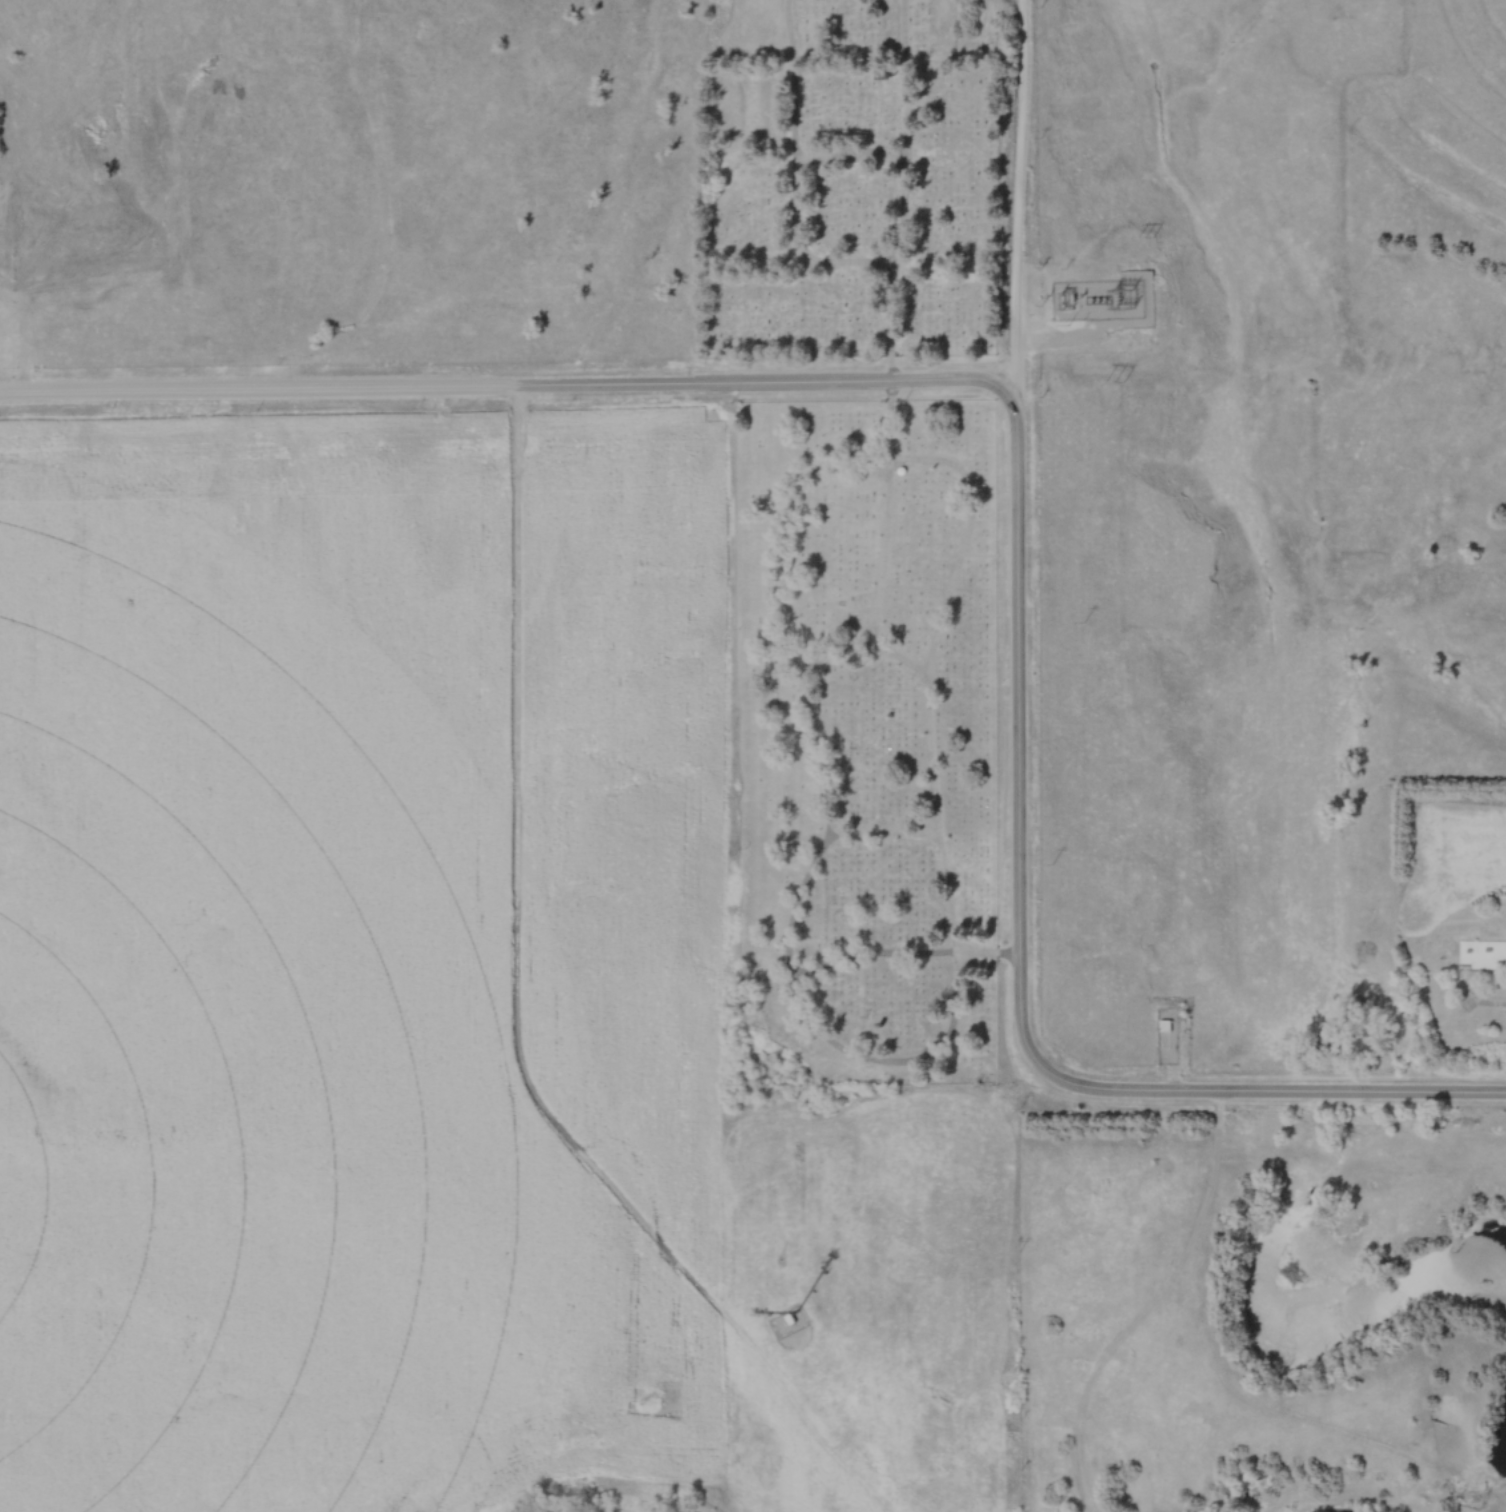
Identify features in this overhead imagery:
road: (791, 23)
building: (879, 72)
road: (1020, 187)
road: (905, 188)
road: (509, 381)
road: (812, 472)
road: (837, 645)
road: (929, 680)
road: (1019, 724)
building: (1480, 955)
road: (798, 998)
road: (1273, 1086)
building: (787, 1323)

